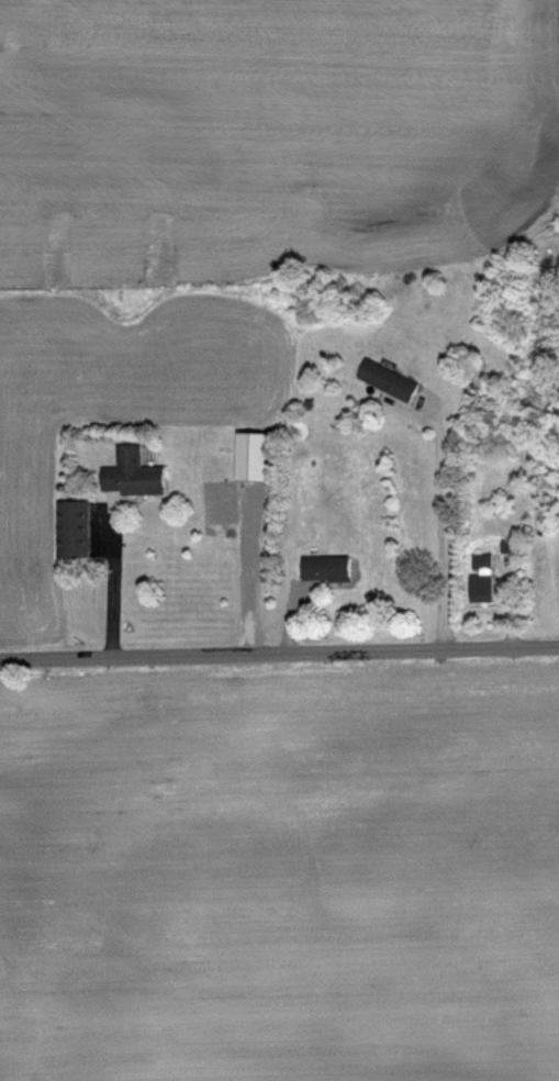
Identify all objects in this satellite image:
building: (382, 201)
building: (387, 380)
building: (247, 456)
building: (128, 472)
road: (444, 522)
building: (69, 528)
building: (323, 567)
road: (256, 571)
building: (478, 577)
road: (112, 583)
road: (279, 650)

